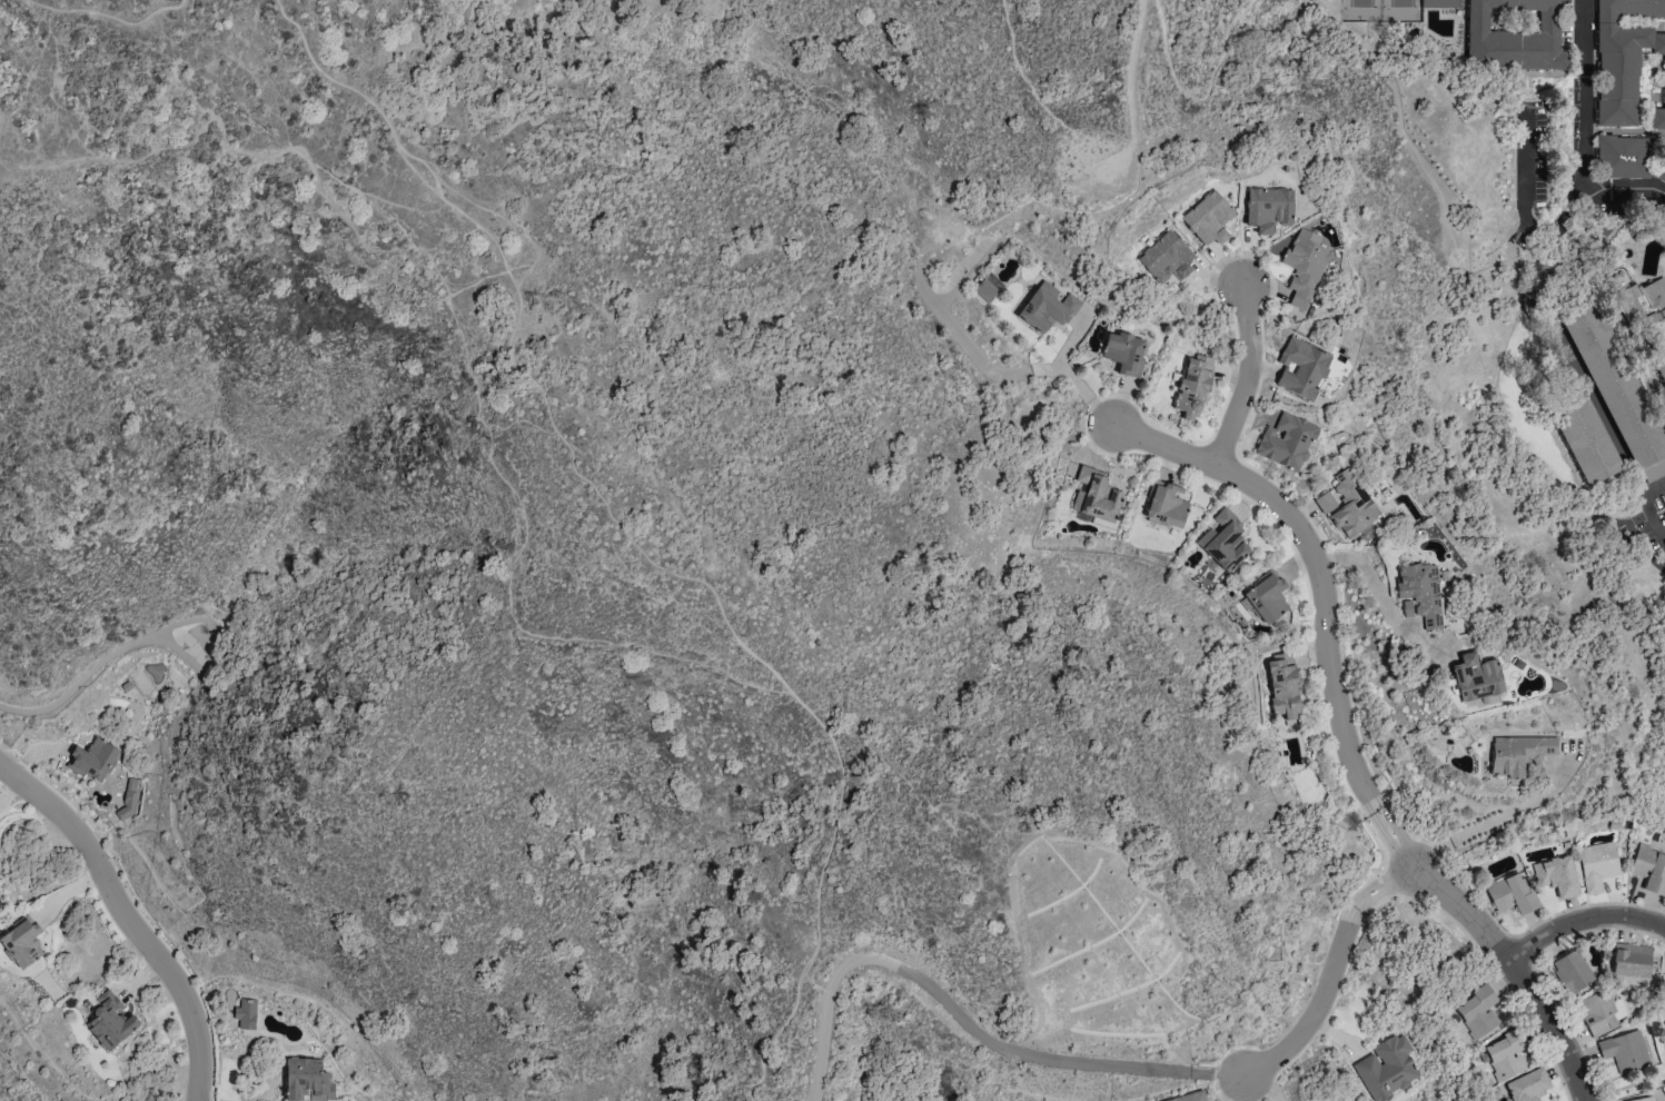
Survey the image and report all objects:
building: (1439, 3)
road: (105, 16)
building: (1513, 34)
building: (1626, 57)
road: (1168, 63)
road: (1134, 70)
road: (1212, 90)
road: (1043, 106)
road: (1584, 129)
building: (1627, 163)
building: (1267, 208)
road: (1523, 210)
building: (1208, 218)
building: (1164, 257)
building: (1304, 268)
building: (1542, 282)
building: (984, 290)
building: (1047, 308)
building: (1656, 316)
building: (1123, 353)
road: (972, 354)
building: (1300, 368)
road: (1250, 378)
road: (1078, 385)
building: (1192, 387)
building: (1617, 393)
building: (1585, 439)
building: (1287, 442)
road: (1653, 490)
building: (1094, 495)
building: (1324, 502)
building: (1351, 504)
building: (1164, 505)
road: (1651, 519)
road: (631, 538)
building: (1223, 540)
building: (1664, 543)
road: (1319, 563)
building: (1419, 593)
road: (1380, 595)
building: (1266, 596)
building: (1475, 677)
building: (1282, 684)
building: (1515, 756)
building: (92, 760)
road: (1490, 821)
building: (1597, 864)
building: (1649, 869)
building: (1557, 875)
building: (1512, 893)
road: (129, 916)
road: (1583, 920)
building: (21, 942)
road: (1497, 945)
building: (1631, 960)
building: (1572, 971)
road: (1325, 995)
road: (947, 1004)
building: (1478, 1011)
building: (1602, 1012)
building: (246, 1013)
building: (109, 1021)
building: (1626, 1051)
building: (1506, 1054)
building: (1388, 1069)
building: (307, 1080)
building: (1527, 1085)
building: (1189, 1098)
building: (1642, 1099)

